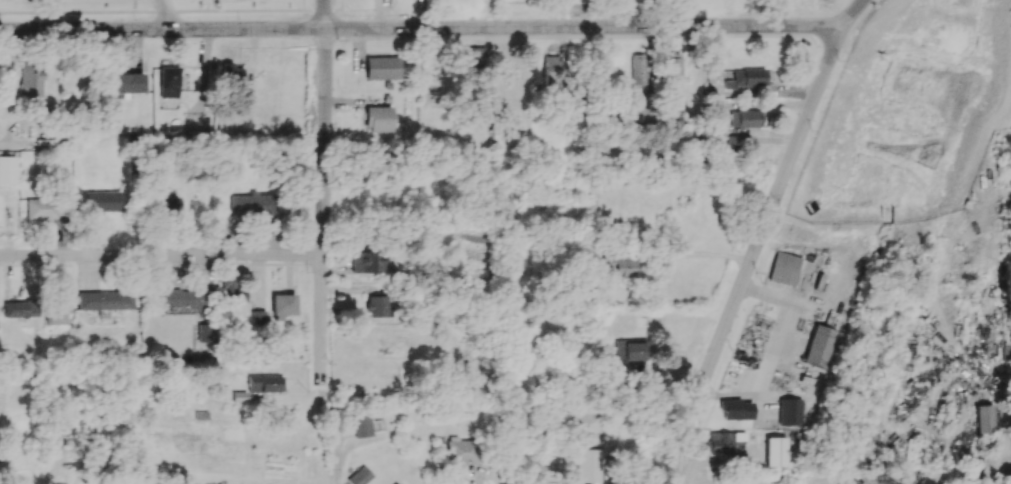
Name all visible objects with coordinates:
road: (777, 12)
road: (164, 13)
road: (849, 13)
road: (323, 14)
road: (581, 26)
road: (161, 27)
building: (474, 58)
building: (382, 67)
building: (552, 69)
building: (638, 69)
building: (518, 70)
building: (673, 70)
building: (231, 72)
building: (737, 78)
building: (31, 79)
building: (169, 81)
building: (126, 82)
building: (717, 107)
building: (642, 115)
building: (746, 118)
building: (379, 119)
building: (195, 123)
building: (730, 141)
road: (162, 144)
building: (7, 169)
building: (102, 200)
building: (171, 203)
building: (253, 204)
building: (43, 208)
road: (324, 209)
road: (162, 256)
road: (689, 256)
road: (754, 256)
building: (369, 261)
building: (619, 264)
building: (785, 268)
building: (232, 288)
building: (183, 297)
building: (105, 299)
building: (282, 305)
building: (376, 306)
building: (18, 309)
building: (56, 309)
building: (258, 317)
building: (205, 333)
building: (820, 345)
building: (629, 350)
road: (776, 356)
building: (182, 357)
building: (266, 383)
building: (737, 409)
building: (790, 411)
building: (984, 418)
building: (586, 422)
building: (363, 425)
building: (722, 441)
building: (463, 451)
building: (776, 451)
road: (337, 455)
building: (585, 465)
road: (490, 475)
building: (360, 476)
road: (610, 477)
building: (395, 483)

